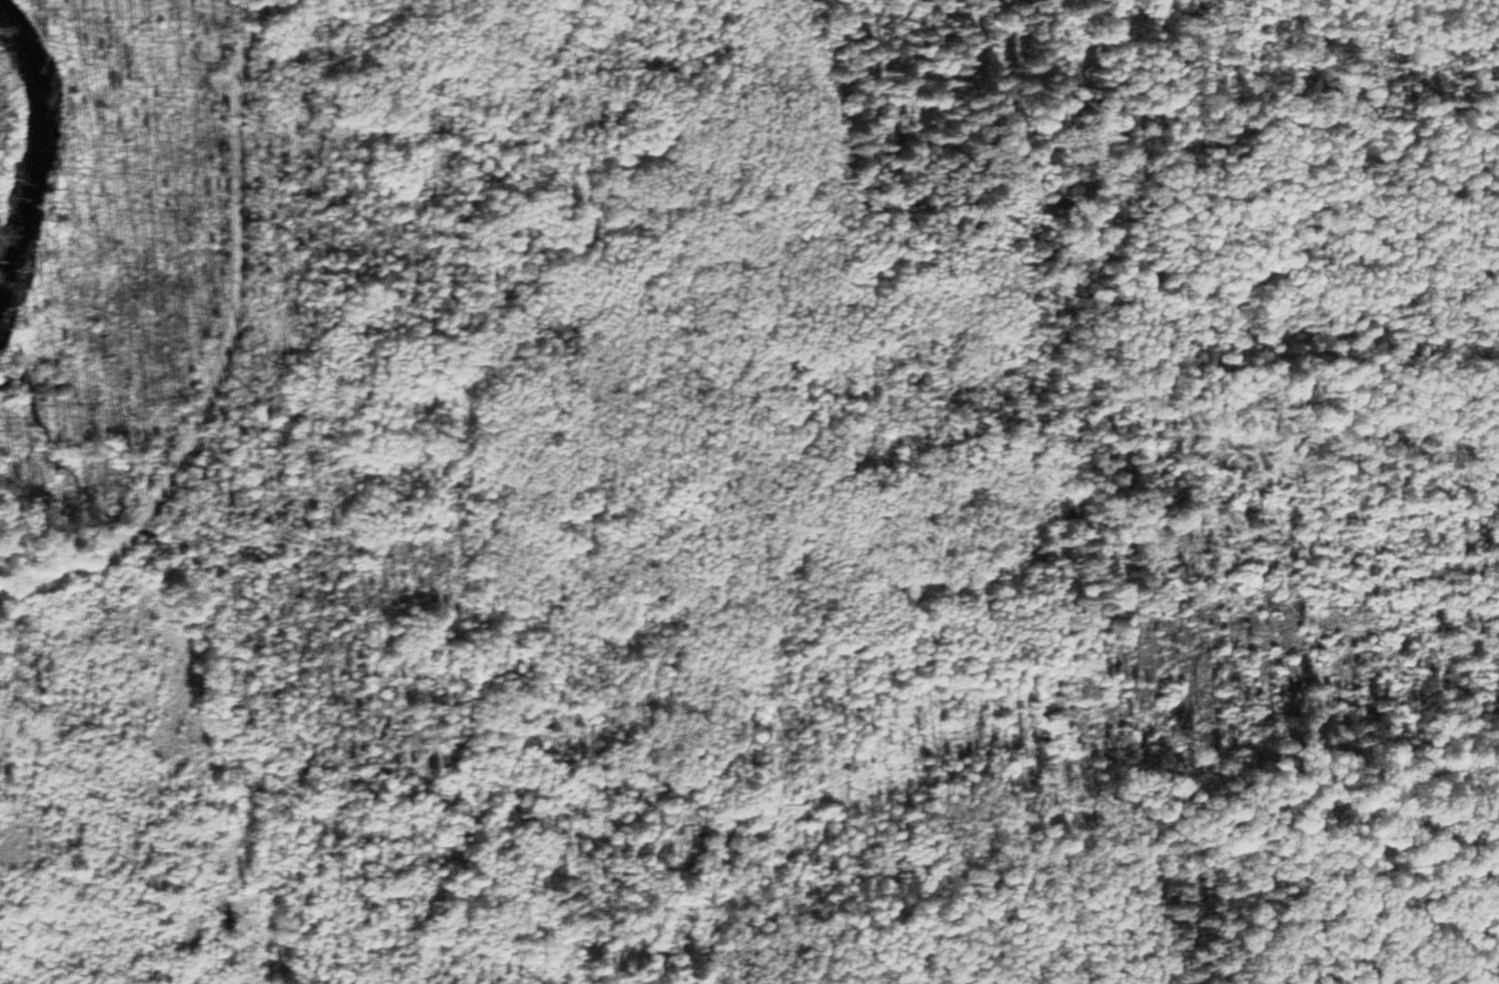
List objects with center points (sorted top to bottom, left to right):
river: (24, 128)
road: (869, 201)
road: (241, 269)
park: (749, 492)
road: (132, 530)
road: (64, 571)
road: (728, 833)
road: (731, 913)

